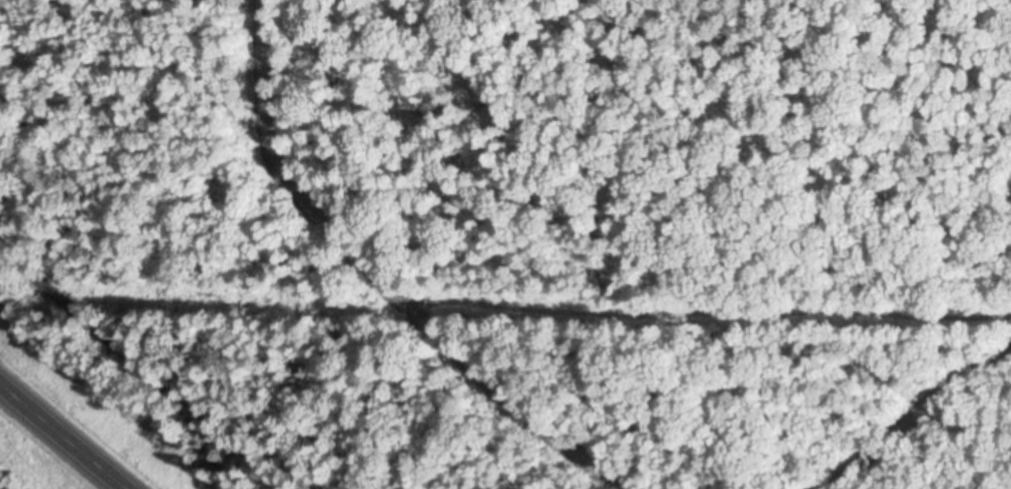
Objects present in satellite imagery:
road: (379, 278)
road: (145, 369)
road: (909, 411)
road: (60, 438)

